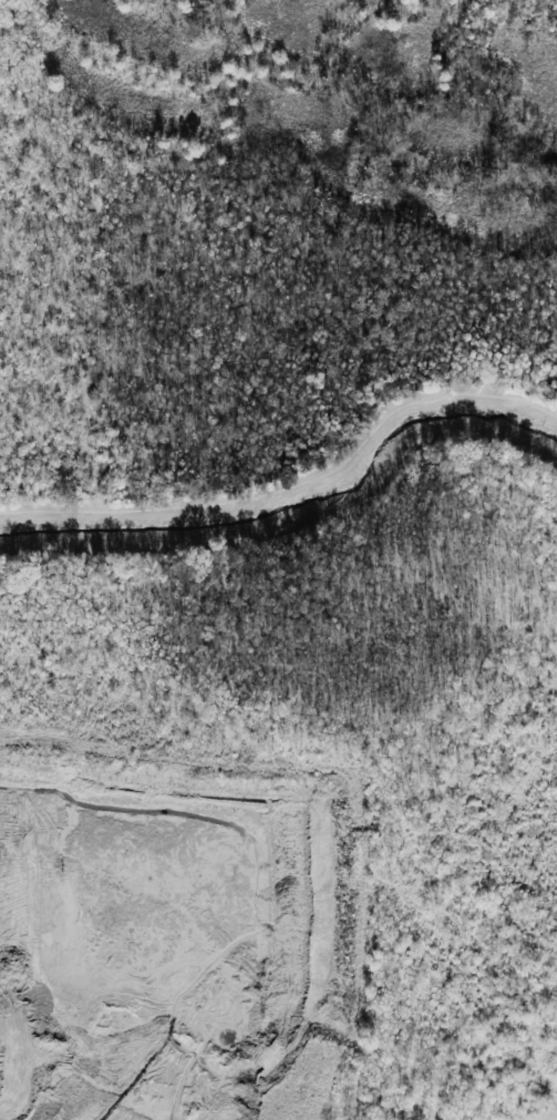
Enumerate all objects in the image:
road: (291, 482)

